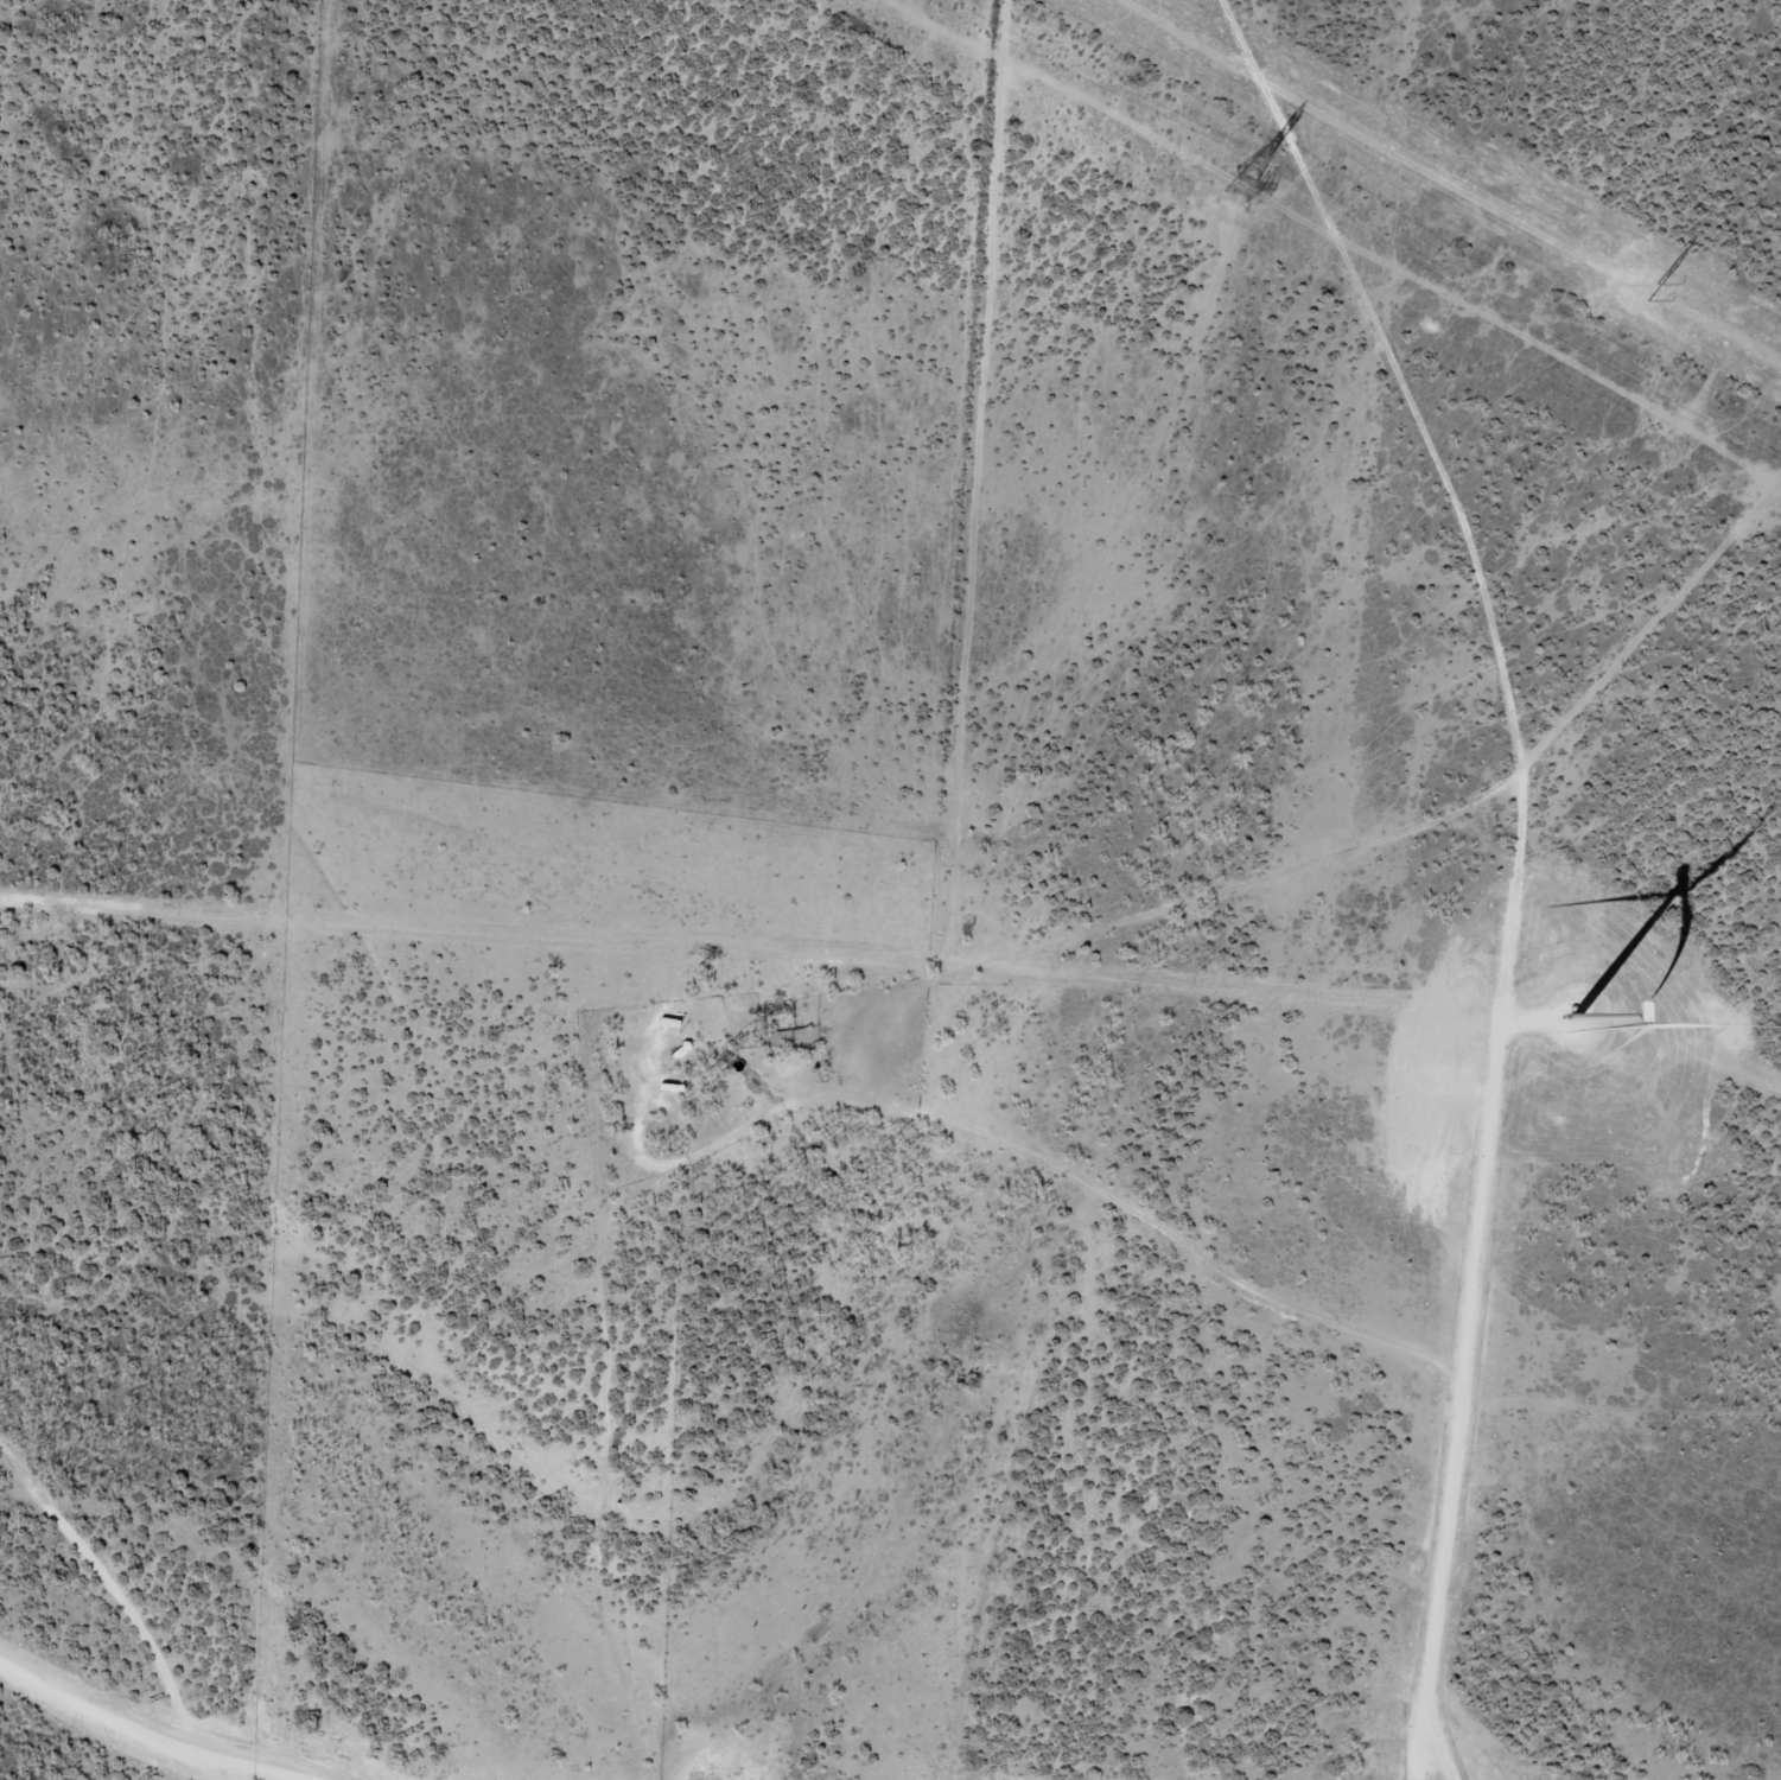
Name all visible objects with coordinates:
power tower: (1232, 187)
road: (1018, 483)
road: (984, 964)
wind turbine: (1582, 1011)
road: (128, 1603)

